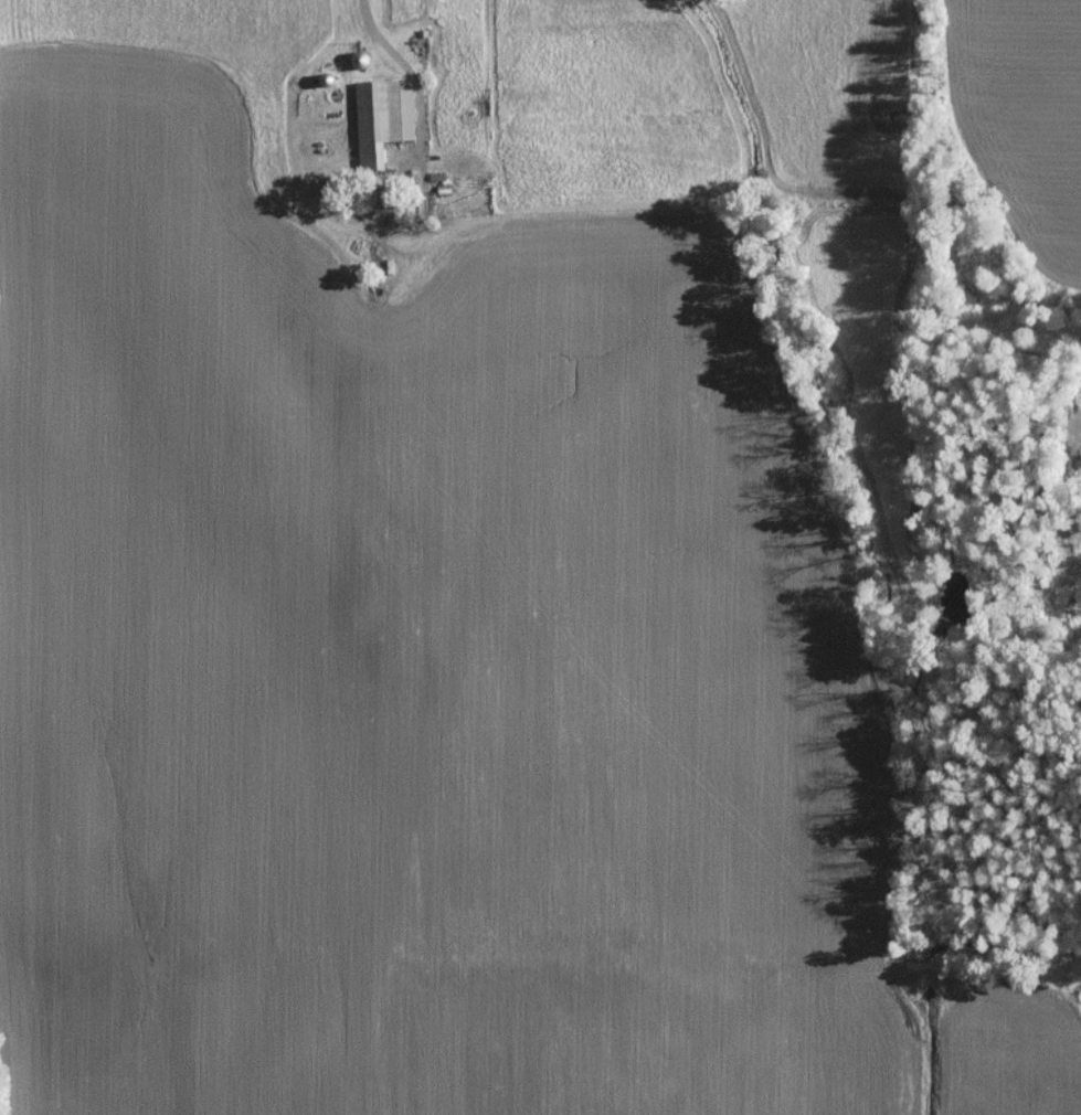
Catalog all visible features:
road: (380, 40)
building: (383, 119)

